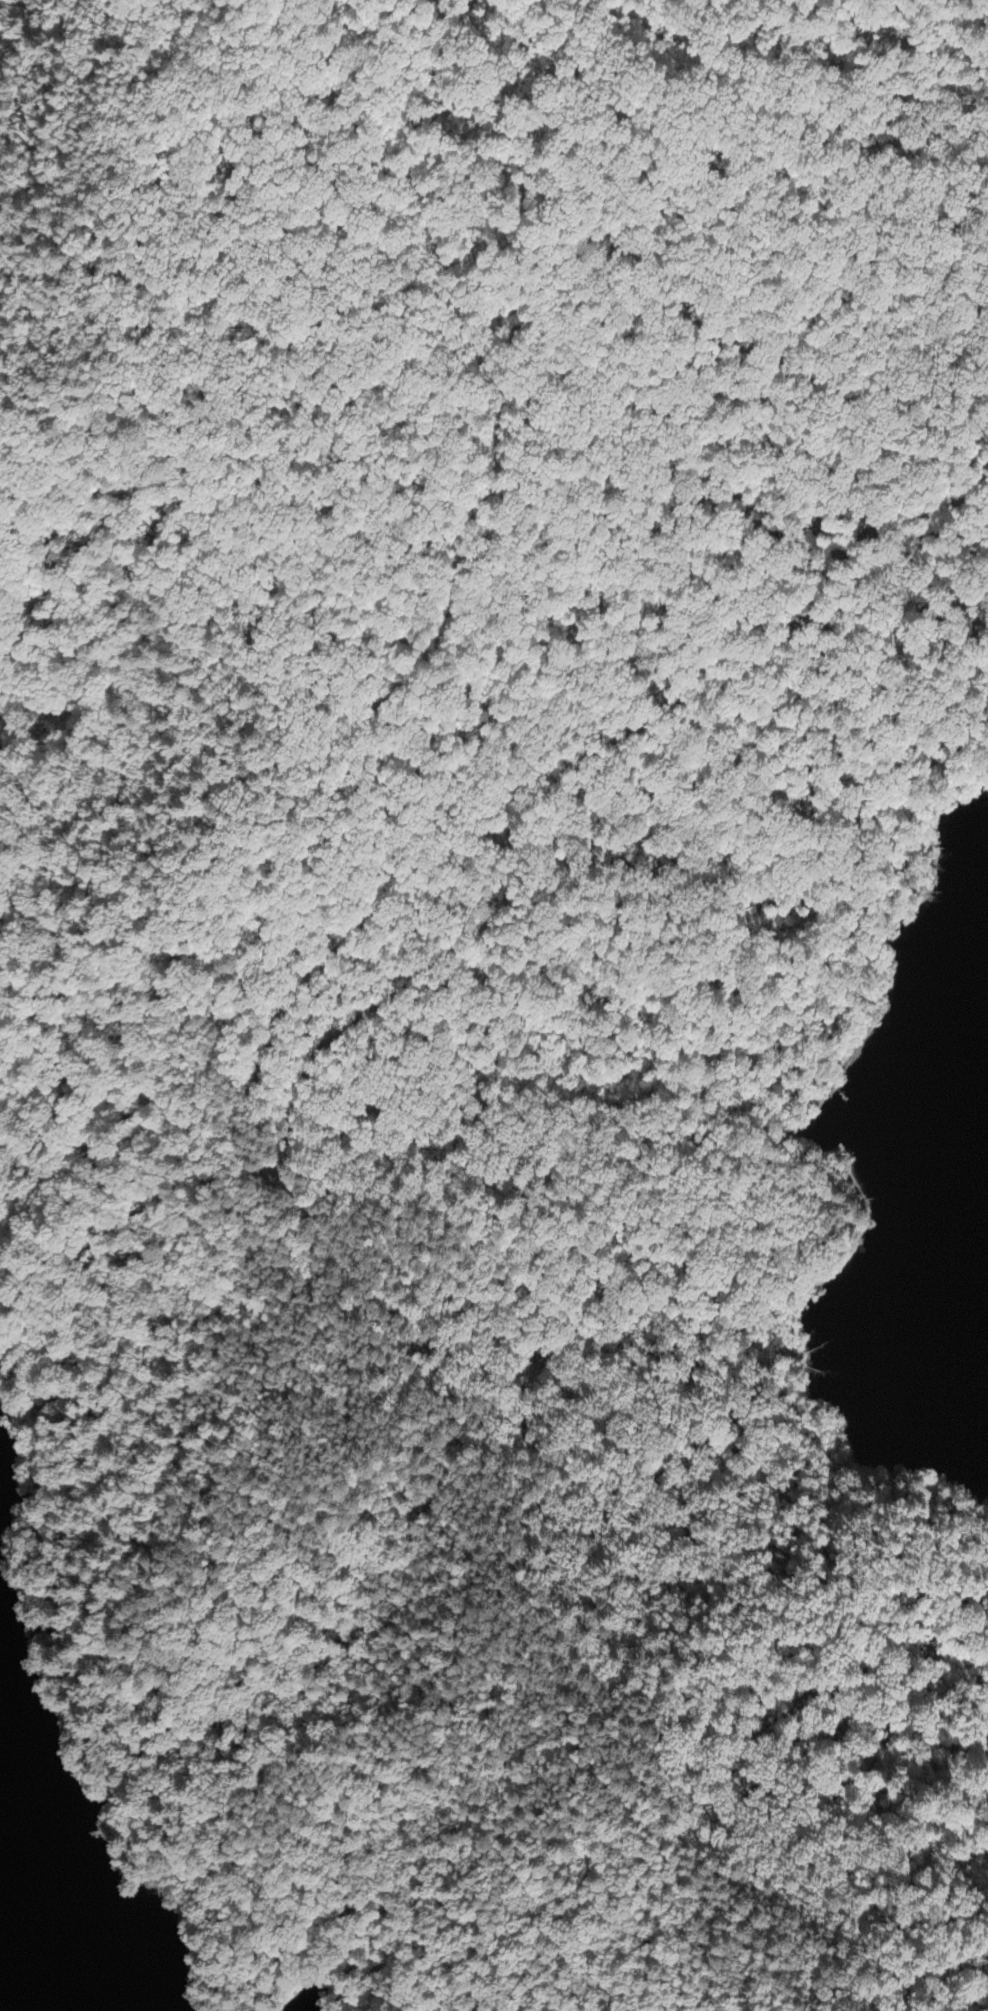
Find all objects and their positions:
road: (280, 1047)

